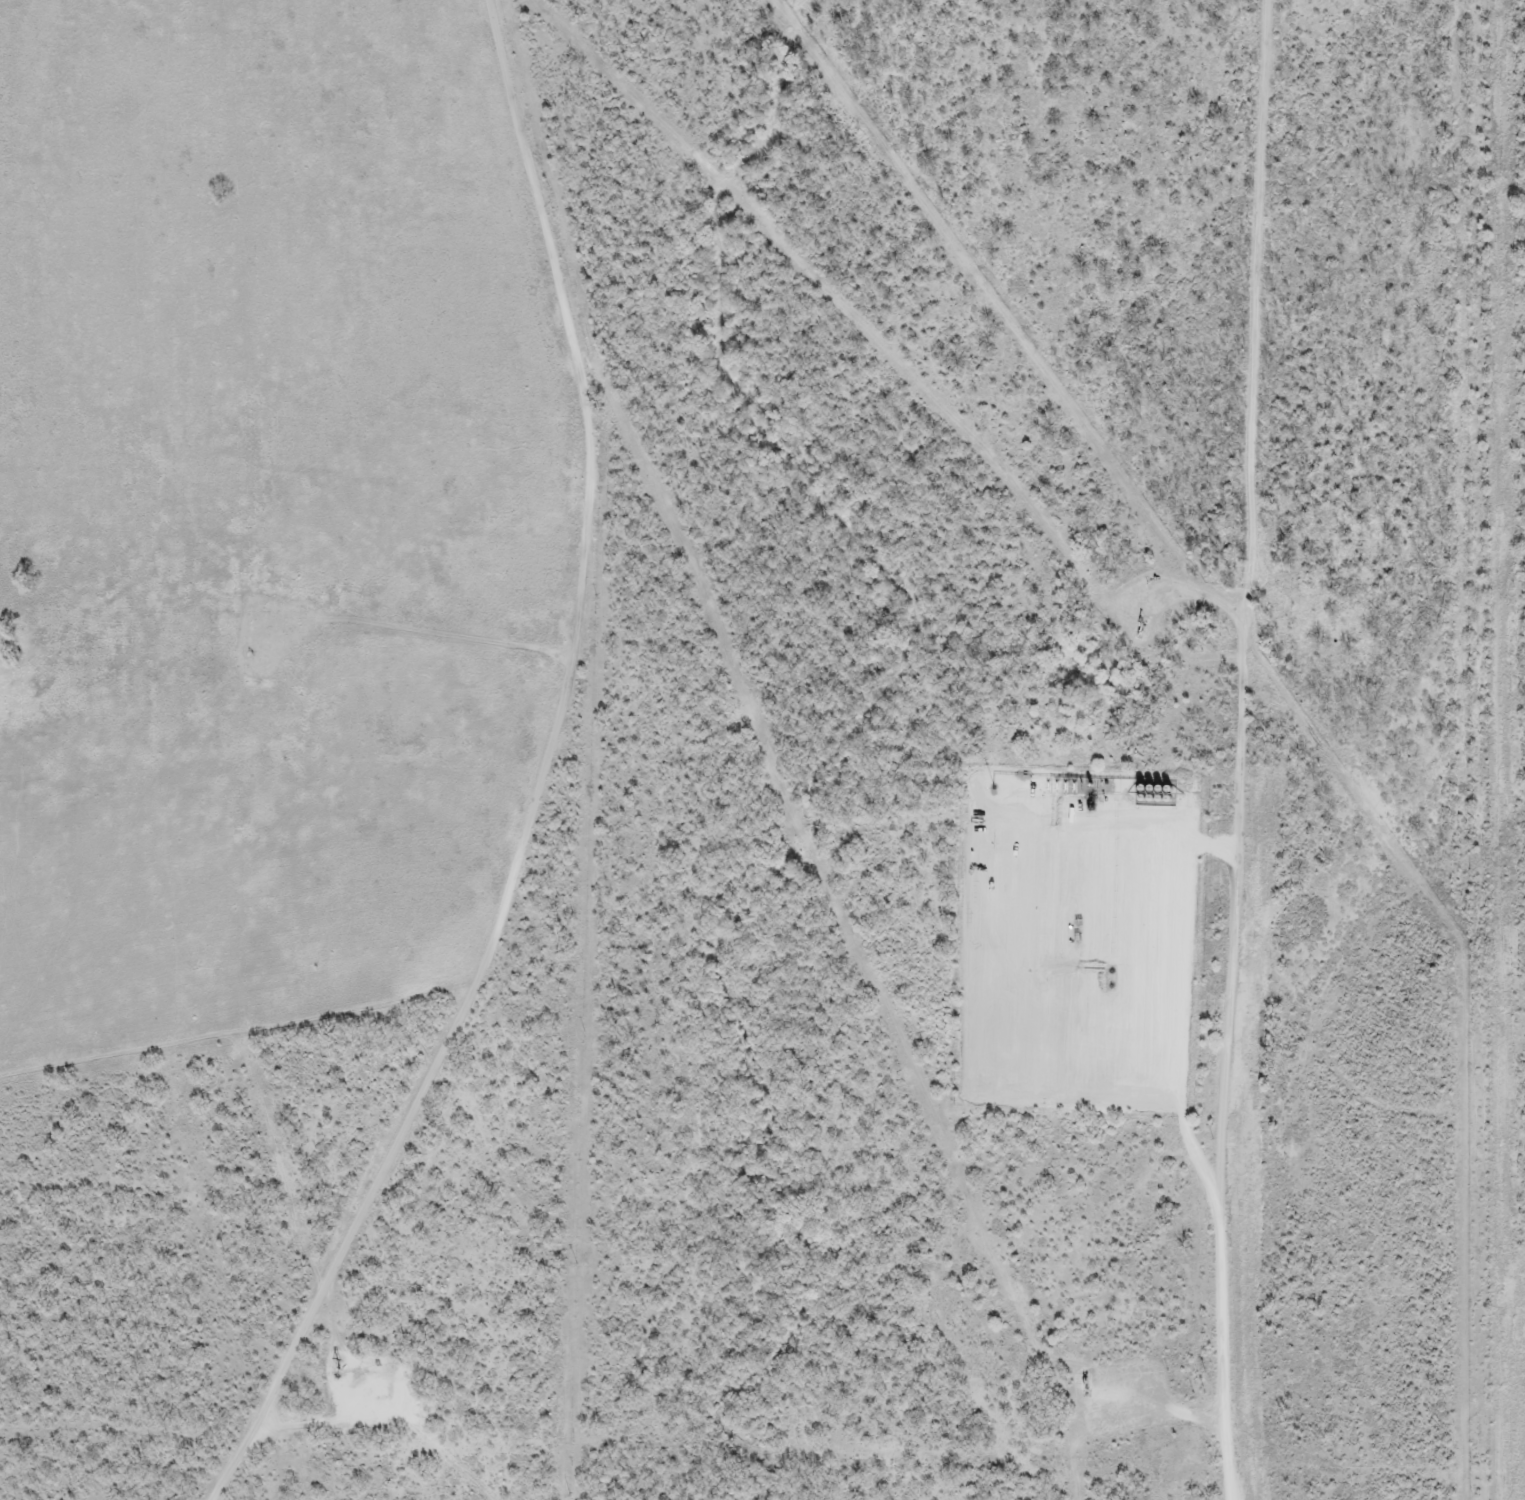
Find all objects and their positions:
road: (553, 727)
road: (1229, 750)

